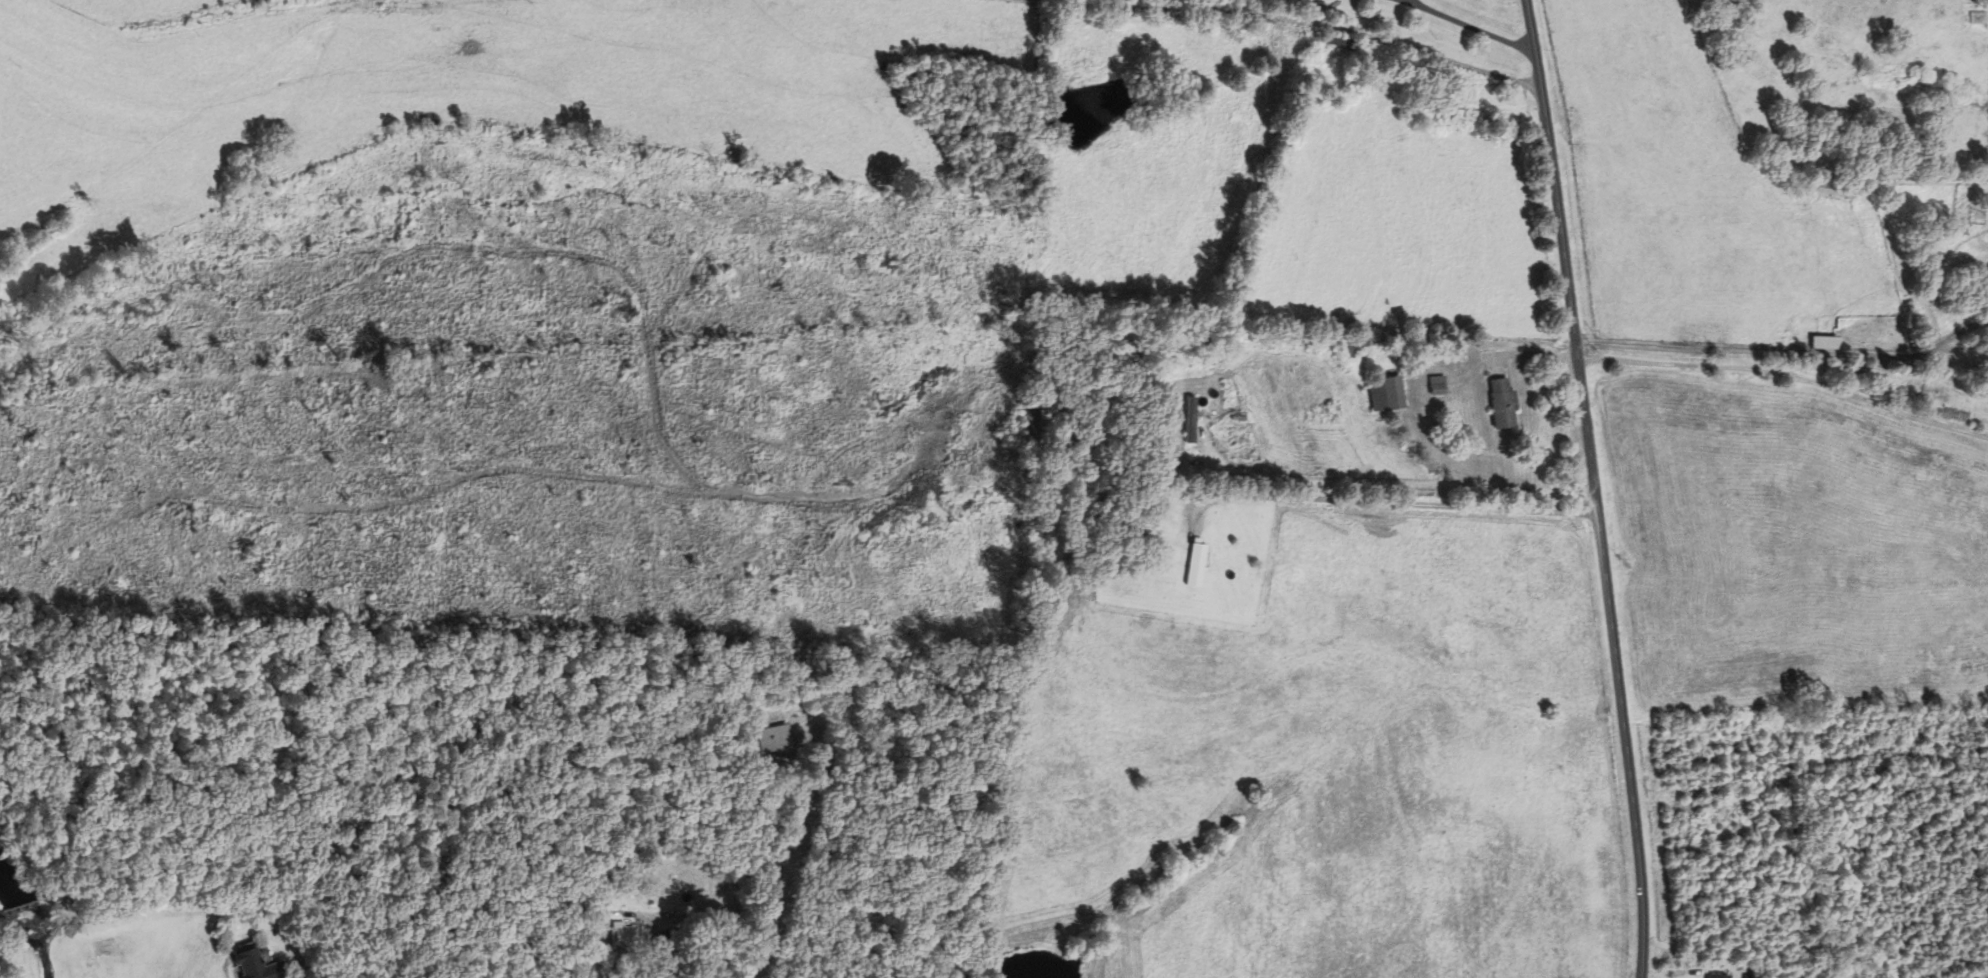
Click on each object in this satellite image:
road: (1409, 2)
road: (1415, 2)
building: (1972, 17)
road: (1332, 22)
road: (1476, 27)
building: (1335, 42)
road: (1956, 332)
building: (1822, 342)
road: (1751, 350)
road: (1786, 379)
building: (1386, 394)
building: (1503, 405)
building: (1030, 418)
road: (1594, 487)
road: (1406, 489)
building: (1195, 565)
road: (842, 717)
building: (773, 740)
building: (621, 934)
building: (668, 934)
building: (257, 966)
road: (1688, 967)
building: (1716, 976)

